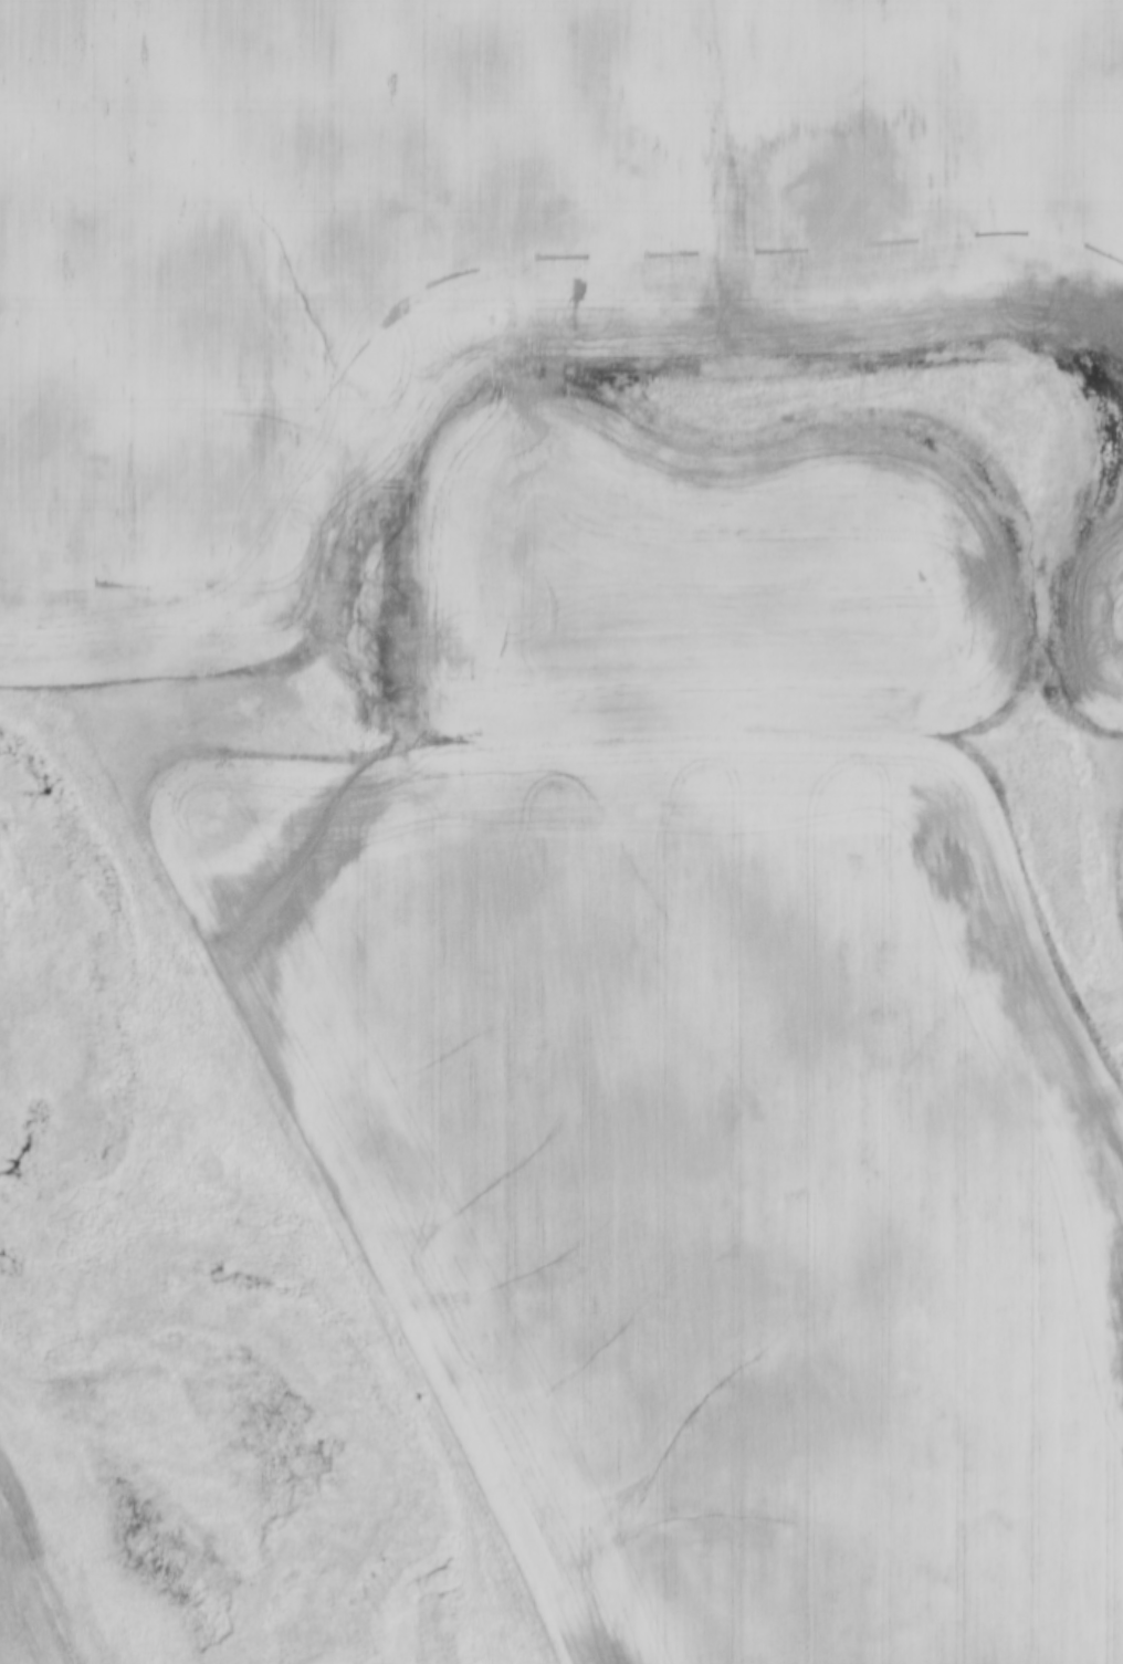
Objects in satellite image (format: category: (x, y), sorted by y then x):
river: (339, 1390)

